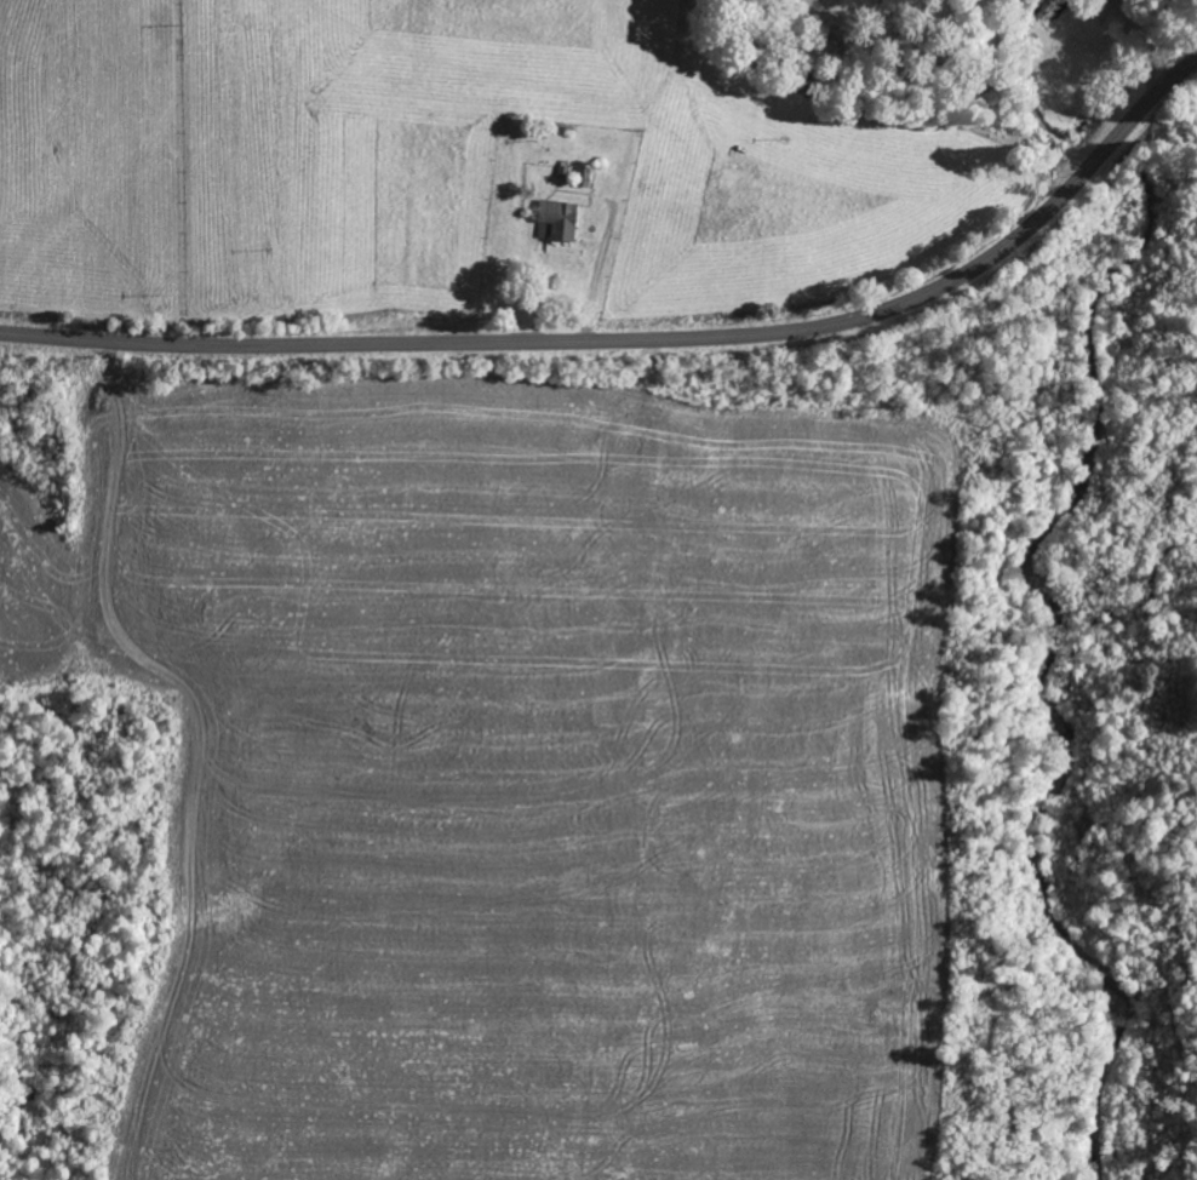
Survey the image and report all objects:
building: (560, 222)
road: (643, 339)

